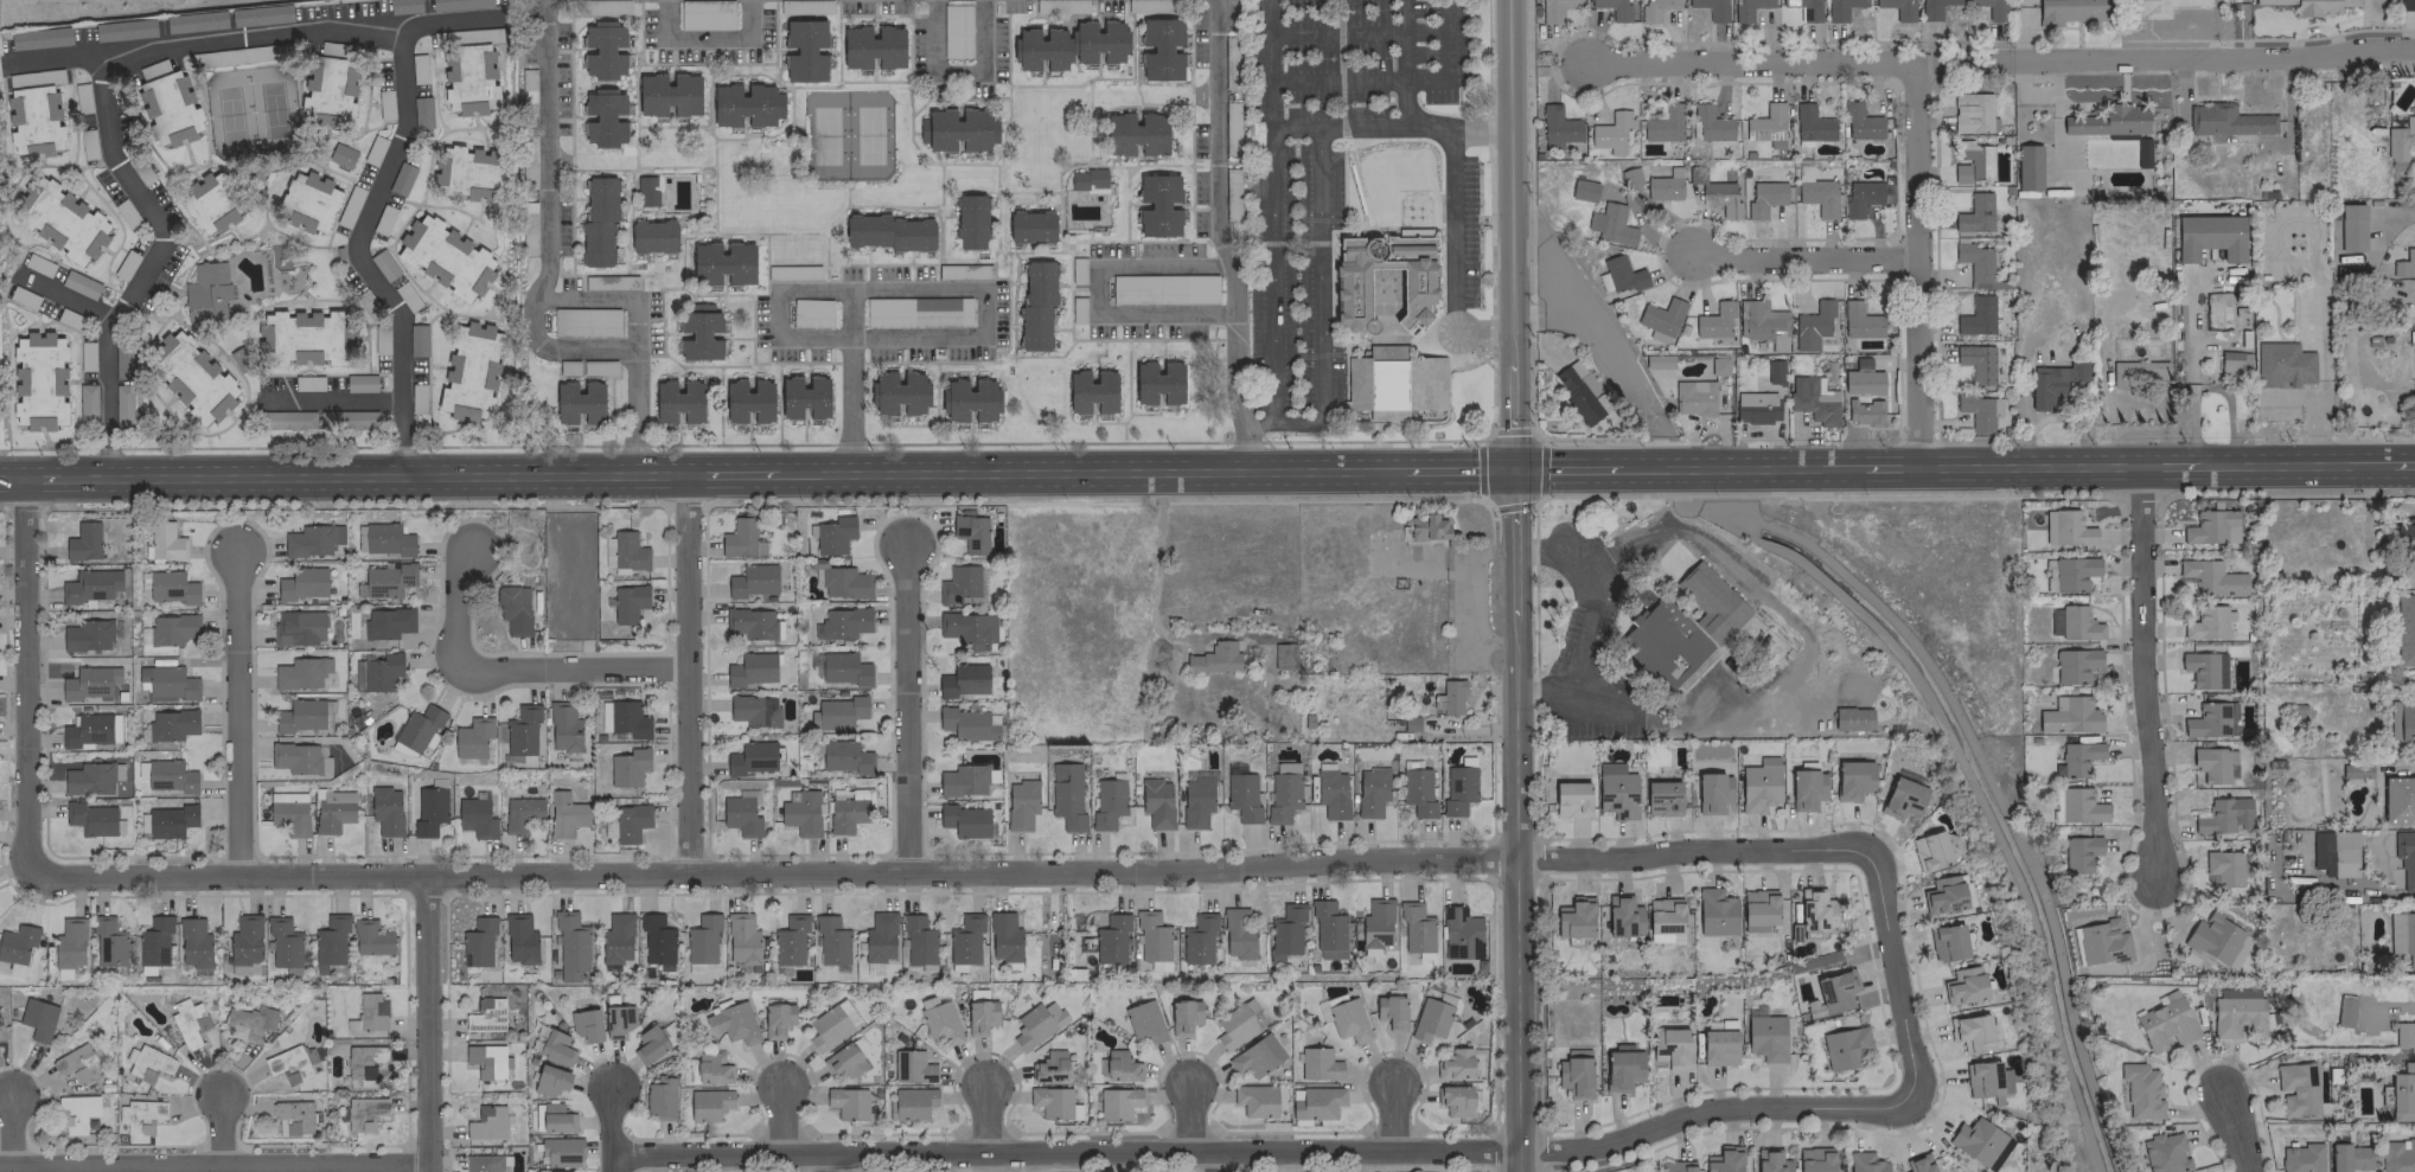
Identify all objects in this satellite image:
building: (459, 4)
building: (2407, 5)
building: (403, 6)
building: (2157, 6)
building: (2312, 6)
building: (1554, 8)
building: (1614, 8)
building: (1711, 8)
building: (1749, 8)
building: (1804, 8)
building: (1840, 8)
building: (1898, 8)
building: (1934, 8)
building: (1992, 8)
building: (1654, 9)
building: (2071, 11)
building: (260, 14)
building: (705, 14)
building: (194, 21)
building: (123, 30)
building: (956, 31)
road: (1356, 31)
building: (39, 38)
road: (254, 38)
road: (705, 38)
road: (2267, 39)
building: (1068, 45)
building: (873, 47)
building: (1161, 49)
building: (602, 50)
building: (805, 50)
road: (2000, 58)
building: (468, 69)
road: (956, 70)
road: (1340, 70)
road: (1394, 81)
building: (328, 88)
building: (667, 94)
building: (167, 104)
building: (746, 104)
park: (256, 107)
building: (421, 113)
building: (1972, 113)
building: (603, 117)
building: (2225, 120)
building: (34, 121)
building: (2109, 121)
building: (1860, 122)
building: (1812, 123)
building: (1663, 124)
building: (1711, 124)
building: (1766, 126)
building: (2408, 126)
building: (1557, 127)
building: (956, 129)
road: (1336, 129)
building: (1610, 132)
building: (1135, 134)
road: (1456, 134)
building: (2414, 134)
park: (848, 136)
road: (1216, 141)
building: (2394, 147)
building: (2141, 150)
building: (340, 155)
building: (1972, 161)
building: (2027, 167)
building: (467, 173)
parking lot: (1337, 173)
building: (401, 178)
building: (1087, 179)
building: (1663, 185)
building: (1583, 190)
building: (646, 191)
building: (1717, 194)
building: (1817, 197)
building: (1860, 197)
building: (1763, 198)
building: (307, 201)
road: (547, 201)
building: (210, 203)
building: (1157, 205)
parking lot: (2294, 210)
building: (1974, 213)
road: (1368, 218)
building: (598, 222)
building: (971, 222)
building: (63, 223)
building: (1610, 224)
building: (1030, 226)
building: (2350, 226)
road: (1357, 231)
building: (888, 232)
road: (1510, 235)
building: (652, 236)
building: (2209, 236)
road: (1301, 243)
parking lot: (2263, 250)
road: (1806, 255)
building: (445, 257)
road: (360, 260)
road: (1454, 261)
building: (1974, 261)
building: (722, 263)
road: (1918, 263)
building: (2403, 263)
building: (383, 264)
road: (2314, 265)
road: (143, 267)
building: (1621, 274)
road: (1271, 280)
building: (1384, 281)
building: (609, 282)
road: (914, 288)
road: (1097, 289)
building: (1163, 289)
building: (209, 290)
road: (64, 299)
building: (1036, 303)
building: (2215, 310)
building: (916, 312)
road: (773, 313)
parking lot: (2302, 313)
road: (1318, 314)
building: (1976, 316)
building: (1660, 320)
building: (1713, 320)
building: (1859, 320)
building: (1761, 322)
building: (1812, 325)
building: (699, 332)
building: (306, 338)
building: (417, 339)
building: (2413, 340)
road: (1414, 341)
road: (1337, 354)
parking lot: (1462, 358)
building: (1656, 360)
building: (1976, 361)
building: (2229, 361)
building: (122, 363)
building: (1861, 364)
building: (2283, 365)
building: (1718, 366)
building: (469, 371)
building: (1774, 371)
road: (1233, 376)
building: (191, 377)
building: (39, 380)
building: (2053, 382)
building: (359, 383)
building: (1157, 383)
building: (1394, 383)
road: (637, 390)
building: (1091, 392)
building: (897, 393)
building: (1578, 393)
building: (803, 397)
building: (1693, 397)
road: (332, 398)
building: (1813, 398)
building: (969, 399)
building: (748, 401)
building: (579, 402)
building: (678, 402)
road: (2313, 404)
building: (85, 405)
building: (122, 406)
building: (1756, 406)
building: (1979, 410)
parking lot: (2277, 412)
building: (1864, 414)
building: (346, 418)
building: (285, 420)
road: (2400, 463)
road: (2292, 465)
road: (2027, 466)
road: (2168, 466)
road: (1889, 467)
road: (1744, 468)
road: (1570, 469)
road: (1455, 470)
traffic signals: (1513, 470)
road: (733, 473)
road: (1090, 473)
road: (371, 476)
road: (11, 478)
road: (40, 478)
building: (1425, 526)
building: (2211, 526)
building: (2068, 527)
building: (970, 532)
building: (2401, 533)
building: (833, 534)
building: (741, 538)
building: (312, 539)
building: (388, 539)
building: (83, 542)
building: (165, 542)
building: (624, 551)
building: (2074, 572)
road: (1152, 574)
building: (2211, 578)
building: (386, 581)
building: (752, 581)
building: (844, 583)
building: (958, 583)
building: (301, 584)
building: (89, 585)
building: (172, 587)
building: (627, 602)
road: (460, 608)
building: (513, 609)
road: (1589, 615)
building: (2053, 621)
building: (2206, 622)
building: (385, 623)
building: (753, 623)
building: (842, 623)
building: (2078, 623)
building: (298, 627)
building: (966, 628)
building: (1681, 628)
building: (168, 629)
building: (2406, 629)
building: (88, 635)
parking lot: (1586, 642)
road: (1803, 652)
building: (1283, 655)
building: (1214, 659)
building: (2075, 665)
building: (750, 668)
building: (844, 668)
building: (2204, 668)
road: (573, 671)
building: (381, 672)
building: (299, 673)
road: (688, 674)
road: (2146, 674)
building: (357, 675)
road: (25, 677)
building: (963, 680)
building: (89, 684)
building: (166, 684)
building: (1451, 696)
building: (754, 710)
building: (837, 712)
road: (907, 712)
road: (239, 713)
building: (2070, 715)
building: (300, 716)
building: (624, 718)
building: (1853, 718)
building: (2211, 719)
building: (2402, 719)
building: (171, 724)
building: (969, 724)
building: (563, 726)
building: (417, 728)
building: (89, 730)
building: (520, 732)
building: (472, 737)
building: (843, 756)
building: (295, 757)
building: (750, 757)
building: (2078, 757)
building: (2211, 763)
building: (627, 767)
building: (2355, 770)
building: (170, 776)
building: (91, 777)
building: (1852, 779)
building: (963, 780)
building: (1758, 784)
building: (1806, 788)
building: (1457, 789)
building: (1616, 790)
building: (1371, 792)
building: (1417, 792)
building: (1712, 792)
building: (1283, 793)
building: (1331, 793)
building: (1066, 795)
building: (1241, 795)
building: (1661, 798)
building: (1902, 798)
building: (1156, 799)
building: (1571, 799)
building: (2397, 799)
building: (1196, 802)
building: (1021, 803)
building: (1106, 803)
building: (2055, 805)
building: (2079, 806)
building: (332, 809)
building: (385, 809)
building: (428, 809)
building: (288, 812)
building: (520, 813)
building: (801, 813)
building: (564, 814)
building: (845, 814)
building: (740, 815)
building: (2224, 815)
building: (475, 816)
building: (90, 818)
building: (170, 820)
building: (964, 820)
road: (1516, 820)
building: (630, 822)
building: (1951, 844)
building: (1929, 851)
building: (2079, 852)
building: (2333, 852)
building: (2404, 857)
building: (2226, 866)
road: (947, 872)
building: (1946, 894)
building: (1757, 909)
building: (1815, 909)
building: (1714, 911)
building: (1663, 915)
building: (1622, 916)
building: (1573, 918)
building: (1374, 926)
building: (1414, 927)
building: (1285, 930)
building: (1327, 930)
building: (1459, 933)
building: (1237, 934)
building: (1151, 935)
building: (2402, 935)
building: (1003, 936)
building: (370, 937)
building: (519, 939)
building: (616, 939)
building: (702, 939)
building: (1111, 939)
building: (1197, 939)
building: (1663, 939)
building: (244, 940)
building: (742, 940)
building: (790, 940)
building: (918, 940)
building: (2216, 940)
building: (154, 941)
building: (330, 941)
building: (656, 941)
building: (831, 941)
building: (877, 941)
building: (964, 941)
building: (17, 942)
building: (108, 942)
building: (282, 942)
building: (478, 942)
building: (1947, 942)
building: (2101, 942)
building: (70, 943)
building: (193, 943)
building: (570, 946)
road: (1898, 976)
building: (1963, 985)
building: (977, 993)
building: (1831, 993)
building: (2344, 1010)
building: (371, 1011)
building: (1391, 1011)
building: (1322, 1012)
building: (2237, 1012)
building: (485, 1014)
building: (980, 1016)
building: (1183, 1016)
building: (37, 1018)
building: (777, 1019)
building: (938, 1019)
building: (1430, 1019)
building: (616, 1020)
building: (1347, 1020)
building: (1143, 1022)
building: (247, 1023)
building: (733, 1023)
building: (1036, 1023)
road: (427, 1024)
building: (586, 1024)
building: (831, 1024)
building: (1237, 1024)
building: (1719, 1024)
building: (189, 1025)
building: (2166, 1025)
building: (0, 1032)
building: (1970, 1032)
building: (2403, 1035)
building: (1765, 1037)
building: (649, 1044)
building: (1670, 1046)
building: (555, 1048)
building: (1718, 1048)
building: (1845, 1048)
building: (1256, 1056)
building: (364, 1061)
building: (487, 1061)
building: (843, 1061)
building: (290, 1062)
building: (76, 1063)
building: (147, 1063)
building: (1317, 1063)
building: (1454, 1064)
building: (1117, 1065)
building: (911, 1067)
building: (1049, 1067)
building: (711, 1068)
building: (1622, 1069)
building: (1573, 1076)
building: (1986, 1078)
building: (550, 1080)
building: (2296, 1088)
building: (2140, 1090)
building: (2402, 1093)
building: (659, 1099)
building: (1254, 1100)
building: (1455, 1100)
building: (846, 1102)
building: (1053, 1102)
building: (1117, 1102)
building: (1315, 1102)
building: (709, 1103)
building: (912, 1103)
building: (75, 1113)
building: (363, 1113)
building: (138, 1116)
building: (292, 1116)
building: (556, 1117)
road: (1188, 1120)
road: (1393, 1121)
building: (488, 1122)
road: (781, 1125)
road: (985, 1127)
road: (612, 1128)
road: (2235, 1131)
road: (223, 1133)
road: (11, 1134)
building: (1979, 1142)
building: (560, 1151)
building: (2165, 1153)
road: (1266, 1154)
building: (2397, 1155)
building: (2349, 1157)
building: (2300, 1158)
building: (1724, 1159)
building: (1814, 1159)
building: (1770, 1160)
building: (483, 1163)
road: (1219, 1163)
building: (1864, 1163)
road: (823, 1164)
building: (1918, 1164)
building: (1675, 1166)
road: (213, 1167)
building: (560, 1171)

